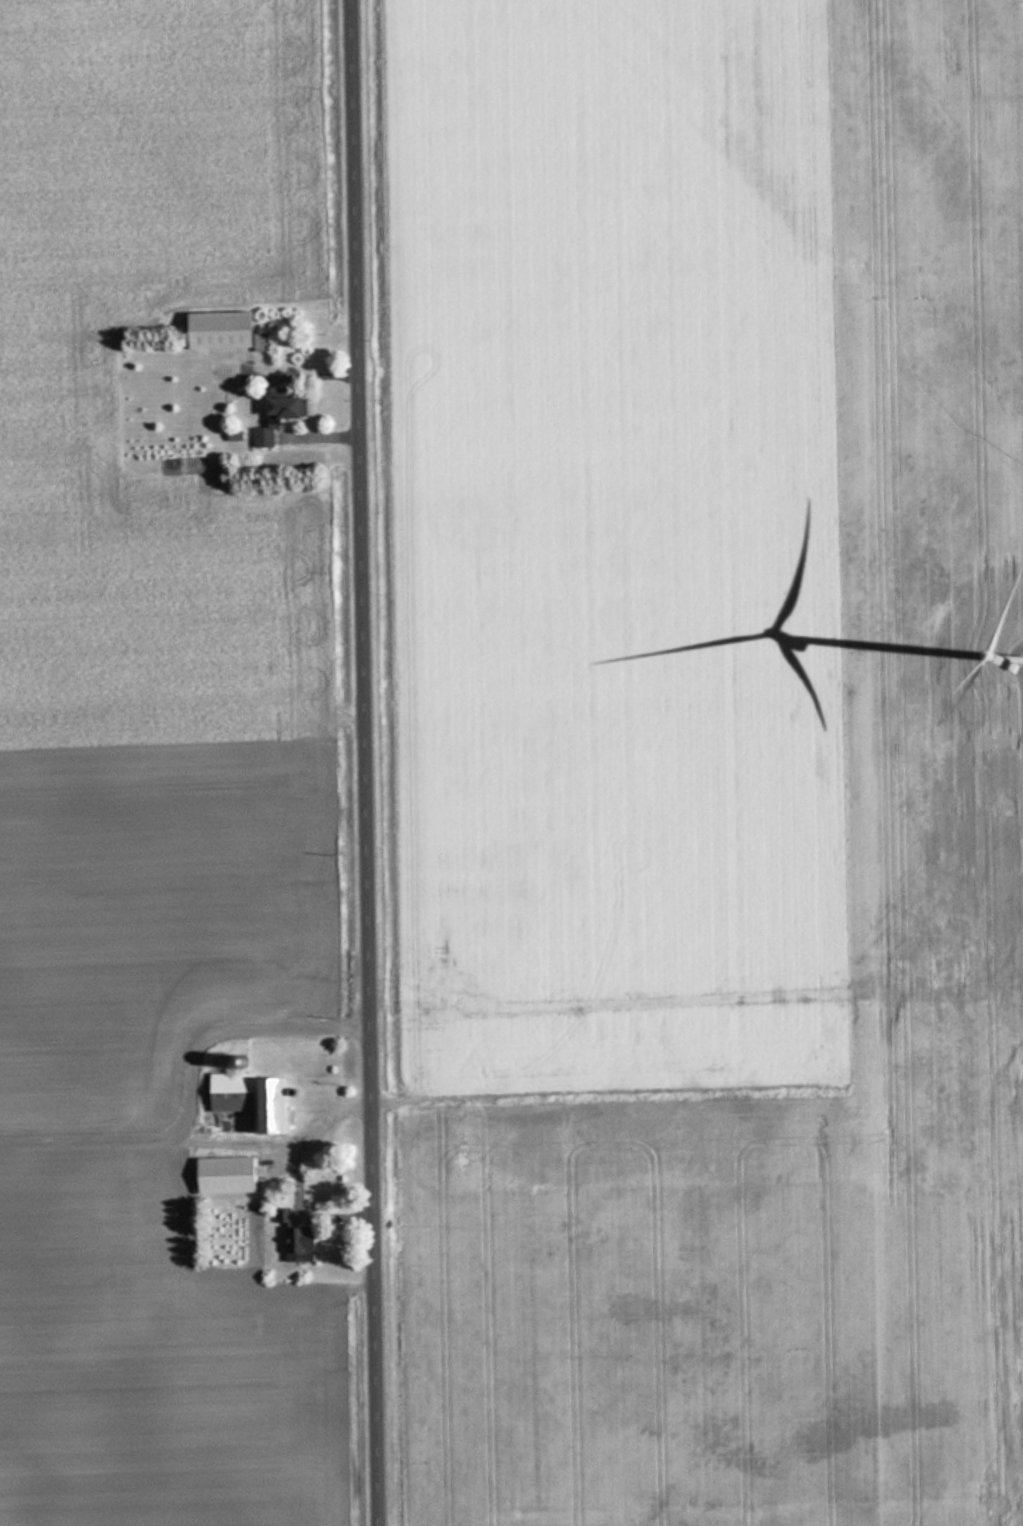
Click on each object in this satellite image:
building: (228, 329)
building: (285, 413)
wind turbine: (1014, 651)
road: (369, 763)
building: (257, 1099)
building: (230, 1175)
building: (286, 1215)
building: (305, 1241)

